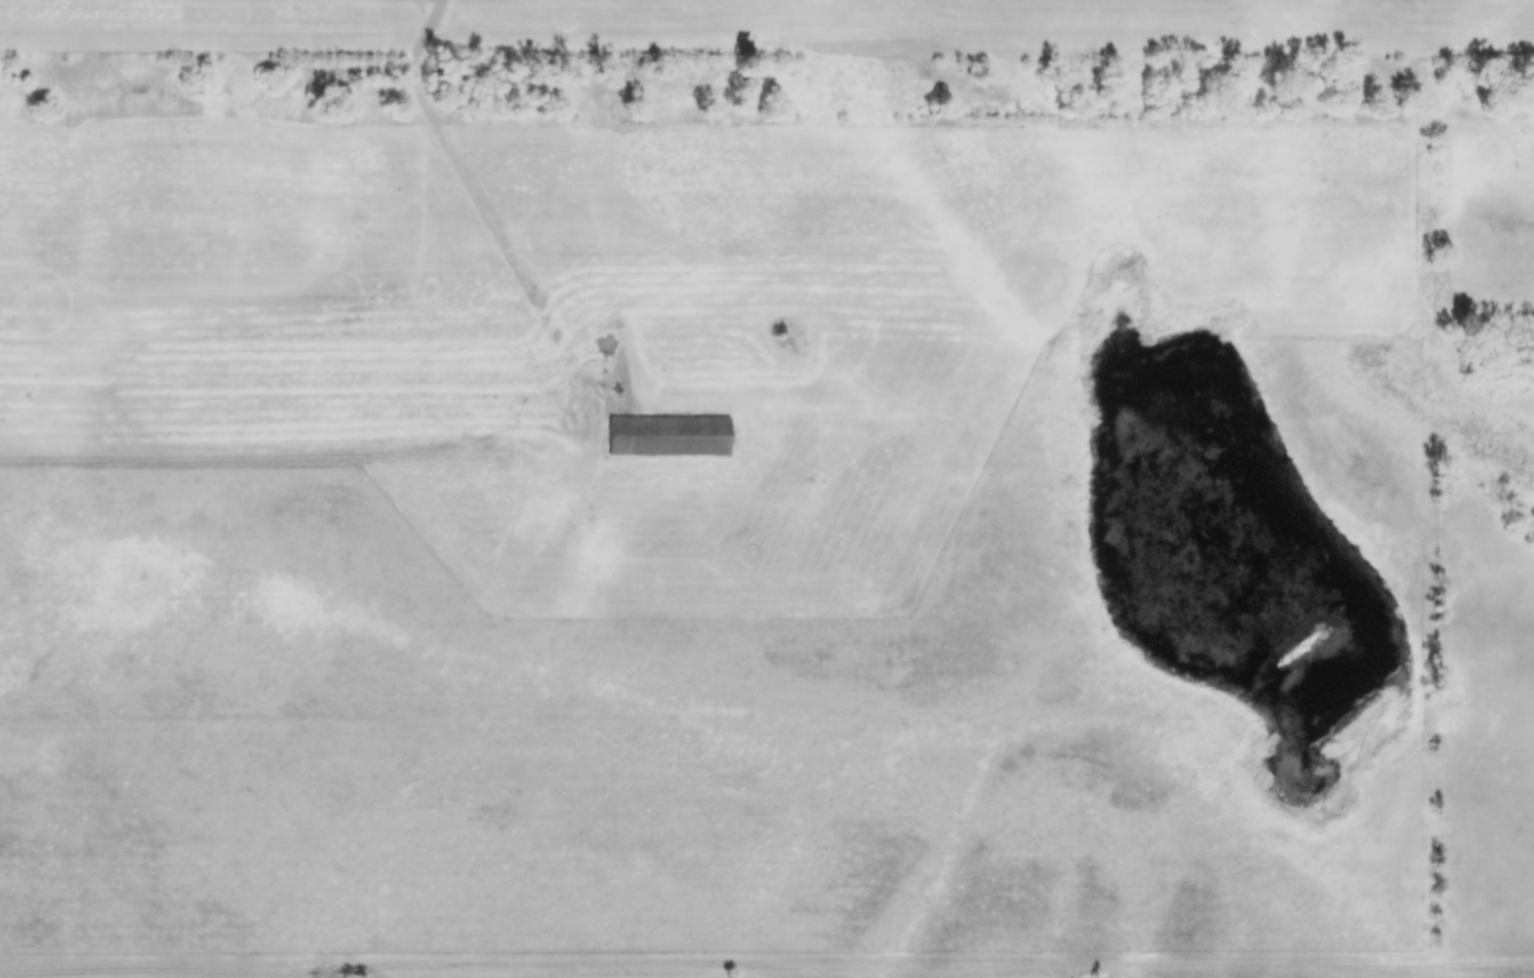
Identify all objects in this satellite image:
road: (501, 238)
road: (590, 399)
building: (665, 434)
road: (226, 455)

